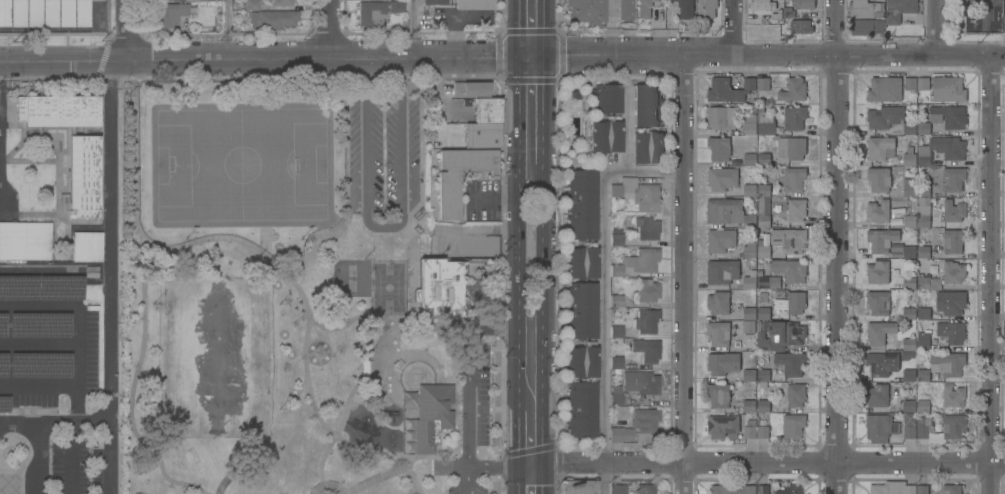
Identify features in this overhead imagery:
building: (163, 0)
building: (433, 2)
building: (281, 3)
building: (473, 4)
building: (762, 4)
building: (803, 4)
building: (251, 5)
building: (396, 6)
building: (644, 8)
building: (685, 8)
building: (706, 8)
building: (865, 8)
building: (625, 9)
building: (899, 9)
building: (587, 11)
building: (3, 13)
building: (16, 13)
building: (32, 13)
building: (48, 13)
building: (64, 13)
building: (80, 13)
building: (370, 13)
building: (169, 14)
building: (276, 19)
building: (800, 26)
building: (866, 26)
road: (410, 28)
road: (518, 28)
road: (545, 28)
road: (738, 28)
road: (939, 28)
road: (226, 29)
road: (334, 29)
road: (128, 30)
road: (502, 56)
traffic signals: (519, 56)
traffic signals: (545, 56)
building: (763, 83)
building: (910, 83)
building: (922, 83)
building: (729, 89)
building: (884, 89)
building: (948, 89)
building: (793, 90)
road: (421, 92)
building: (605, 99)
building: (647, 105)
building: (486, 110)
road: (518, 113)
building: (884, 116)
building: (950, 116)
building: (720, 117)
building: (794, 117)
road: (545, 122)
building: (766, 124)
building: (749, 128)
building: (909, 128)
building: (923, 128)
building: (481, 135)
building: (605, 135)
road: (134, 137)
building: (71, 143)
building: (647, 146)
parking lot: (383, 147)
building: (792, 147)
building: (719, 148)
building: (880, 148)
building: (941, 150)
building: (749, 159)
building: (763, 159)
building: (909, 159)
park: (244, 165)
building: (722, 178)
building: (792, 179)
building: (879, 179)
building: (953, 179)
building: (909, 186)
building: (749, 190)
building: (764, 190)
building: (923, 190)
building: (637, 194)
building: (447, 197)
building: (581, 204)
building: (795, 210)
building: (878, 211)
building: (923, 211)
building: (728, 212)
building: (954, 212)
building: (763, 220)
building: (909, 221)
building: (646, 228)
road: (385, 229)
building: (616, 239)
building: (881, 239)
building: (721, 240)
building: (790, 240)
building: (953, 240)
building: (25, 241)
building: (86, 246)
building: (763, 247)
road: (839, 247)
building: (749, 249)
building: (909, 251)
building: (923, 252)
building: (643, 260)
building: (581, 262)
building: (615, 270)
building: (789, 270)
building: (722, 271)
building: (953, 271)
building: (878, 272)
road: (684, 275)
road: (991, 275)
road: (108, 276)
building: (750, 280)
building: (769, 282)
building: (909, 282)
building: (928, 282)
park: (312, 284)
road: (518, 284)
building: (439, 286)
park: (389, 287)
building: (41, 289)
building: (647, 290)
road: (605, 294)
building: (615, 301)
building: (789, 301)
building: (718, 302)
building: (878, 302)
building: (951, 302)
building: (921, 309)
building: (581, 311)
building: (749, 313)
building: (763, 313)
building: (909, 313)
building: (647, 321)
building: (39, 325)
building: (2, 326)
building: (746, 326)
road: (545, 327)
road: (498, 331)
building: (879, 331)
road: (495, 332)
building: (616, 332)
building: (951, 332)
building: (719, 333)
building: (782, 335)
building: (923, 340)
road: (38, 345)
road: (76, 346)
parking lot: (48, 348)
building: (908, 348)
building: (646, 350)
road: (327, 351)
road: (307, 355)
park: (214, 360)
building: (581, 362)
building: (723, 362)
building: (791, 363)
building: (883, 363)
building: (947, 363)
building: (615, 364)
building: (3, 365)
building: (40, 366)
building: (364, 369)
road: (358, 373)
building: (750, 374)
building: (764, 375)
building: (909, 375)
building: (923, 375)
road: (146, 380)
building: (640, 383)
road: (300, 390)
road: (458, 392)
building: (718, 394)
parking lot: (476, 395)
building: (795, 395)
building: (878, 395)
building: (615, 396)
building: (953, 396)
road: (497, 397)
building: (407, 399)
road: (470, 399)
building: (4, 405)
building: (749, 406)
building: (763, 406)
building: (909, 406)
building: (923, 406)
building: (580, 410)
building: (431, 415)
road: (53, 424)
building: (723, 426)
building: (793, 426)
building: (637, 427)
building: (881, 427)
building: (933, 427)
building: (750, 429)
building: (763, 432)
road: (518, 433)
road: (369, 449)
road: (38, 459)
road: (72, 459)
parking lot: (73, 462)
road: (761, 464)
traffic signals: (544, 466)
road: (493, 467)
road: (496, 467)
traffic signals: (518, 467)
road: (396, 471)
road: (468, 480)
road: (518, 480)
road: (544, 480)
road: (328, 482)
road: (371, 482)
road: (413, 482)
road: (495, 485)
building: (577, 486)
parking lot: (470, 487)
building: (733, 488)
building: (892, 488)
building: (617, 489)
building: (644, 489)
building: (762, 489)
building: (790, 489)
building: (922, 489)
building: (951, 489)
road: (445, 491)

